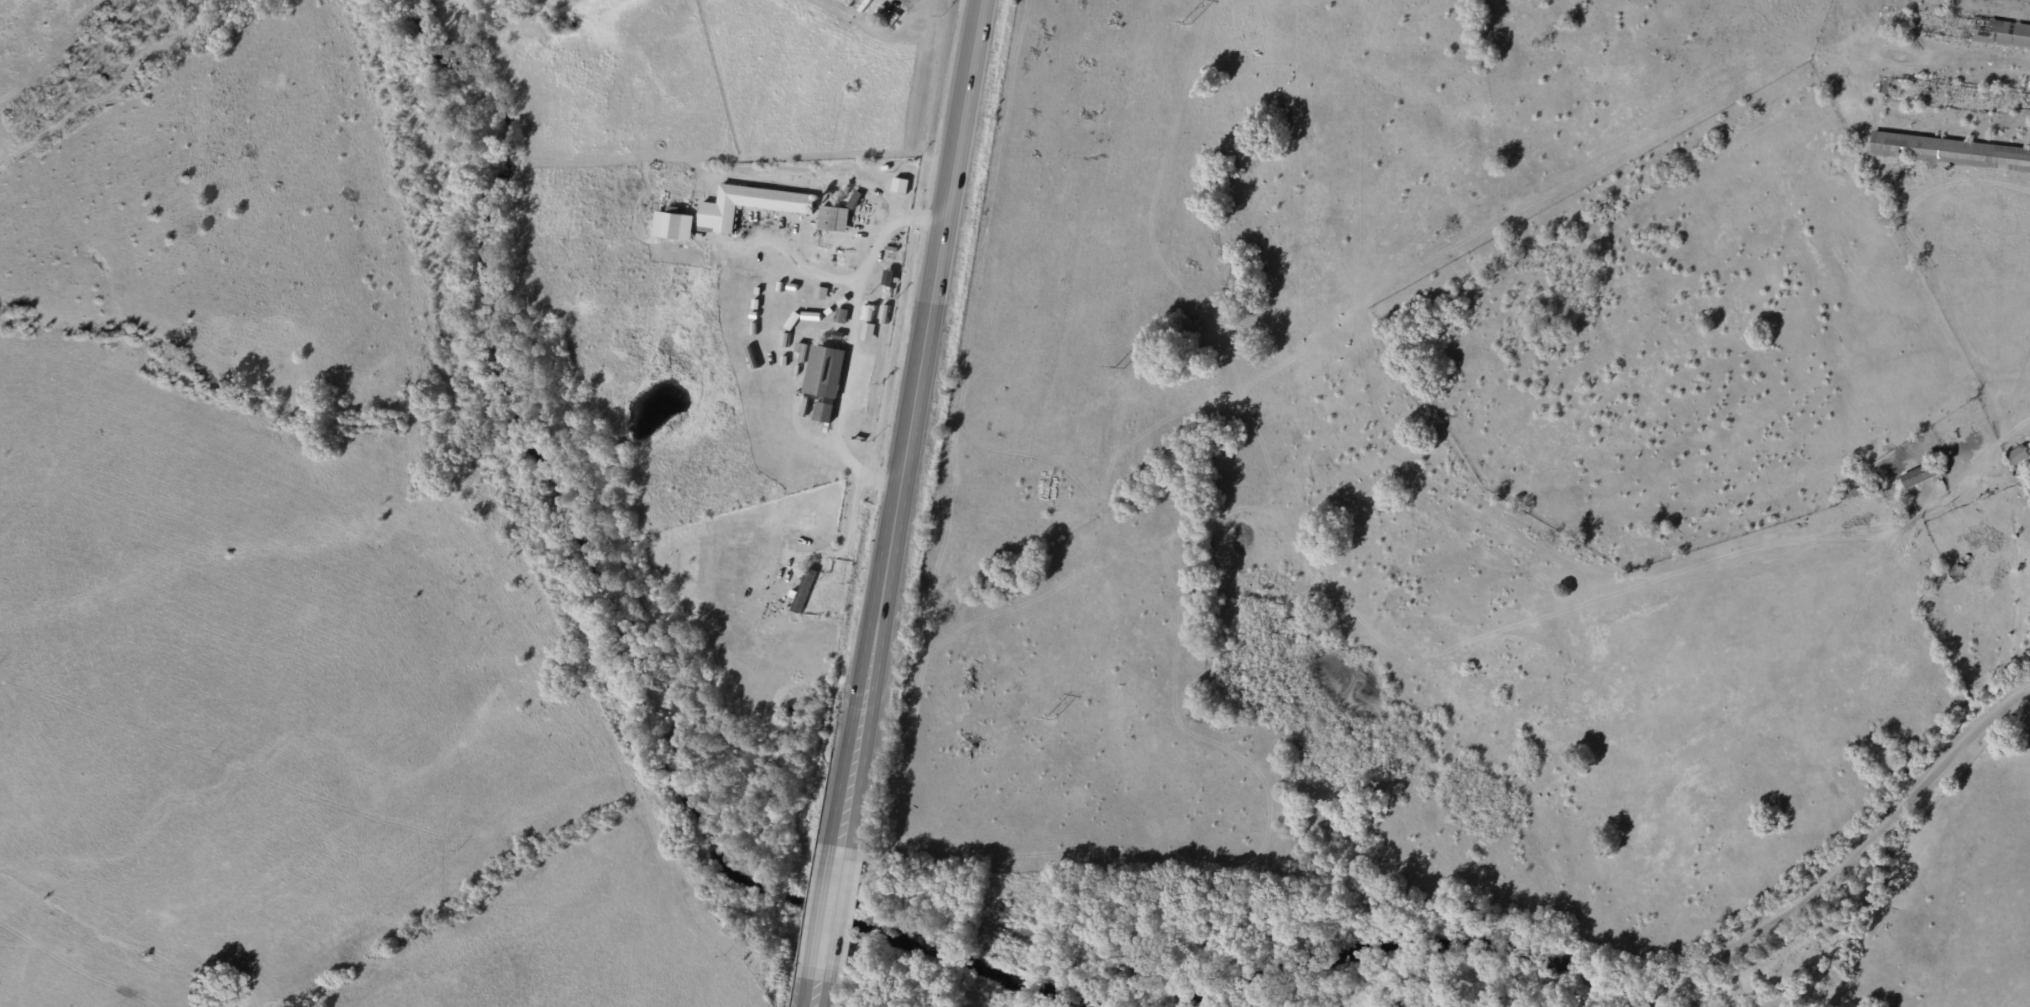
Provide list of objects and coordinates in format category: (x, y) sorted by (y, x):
power tower: (1185, 23)
building: (1951, 152)
building: (897, 189)
building: (749, 206)
building: (834, 219)
building: (673, 227)
building: (867, 313)
building: (841, 316)
road: (844, 346)
building: (801, 352)
power tower: (1118, 371)
building: (824, 381)
road: (909, 422)
building: (822, 473)
building: (804, 591)
power tower: (1048, 718)
road: (1855, 860)
road: (829, 913)
road: (815, 994)

